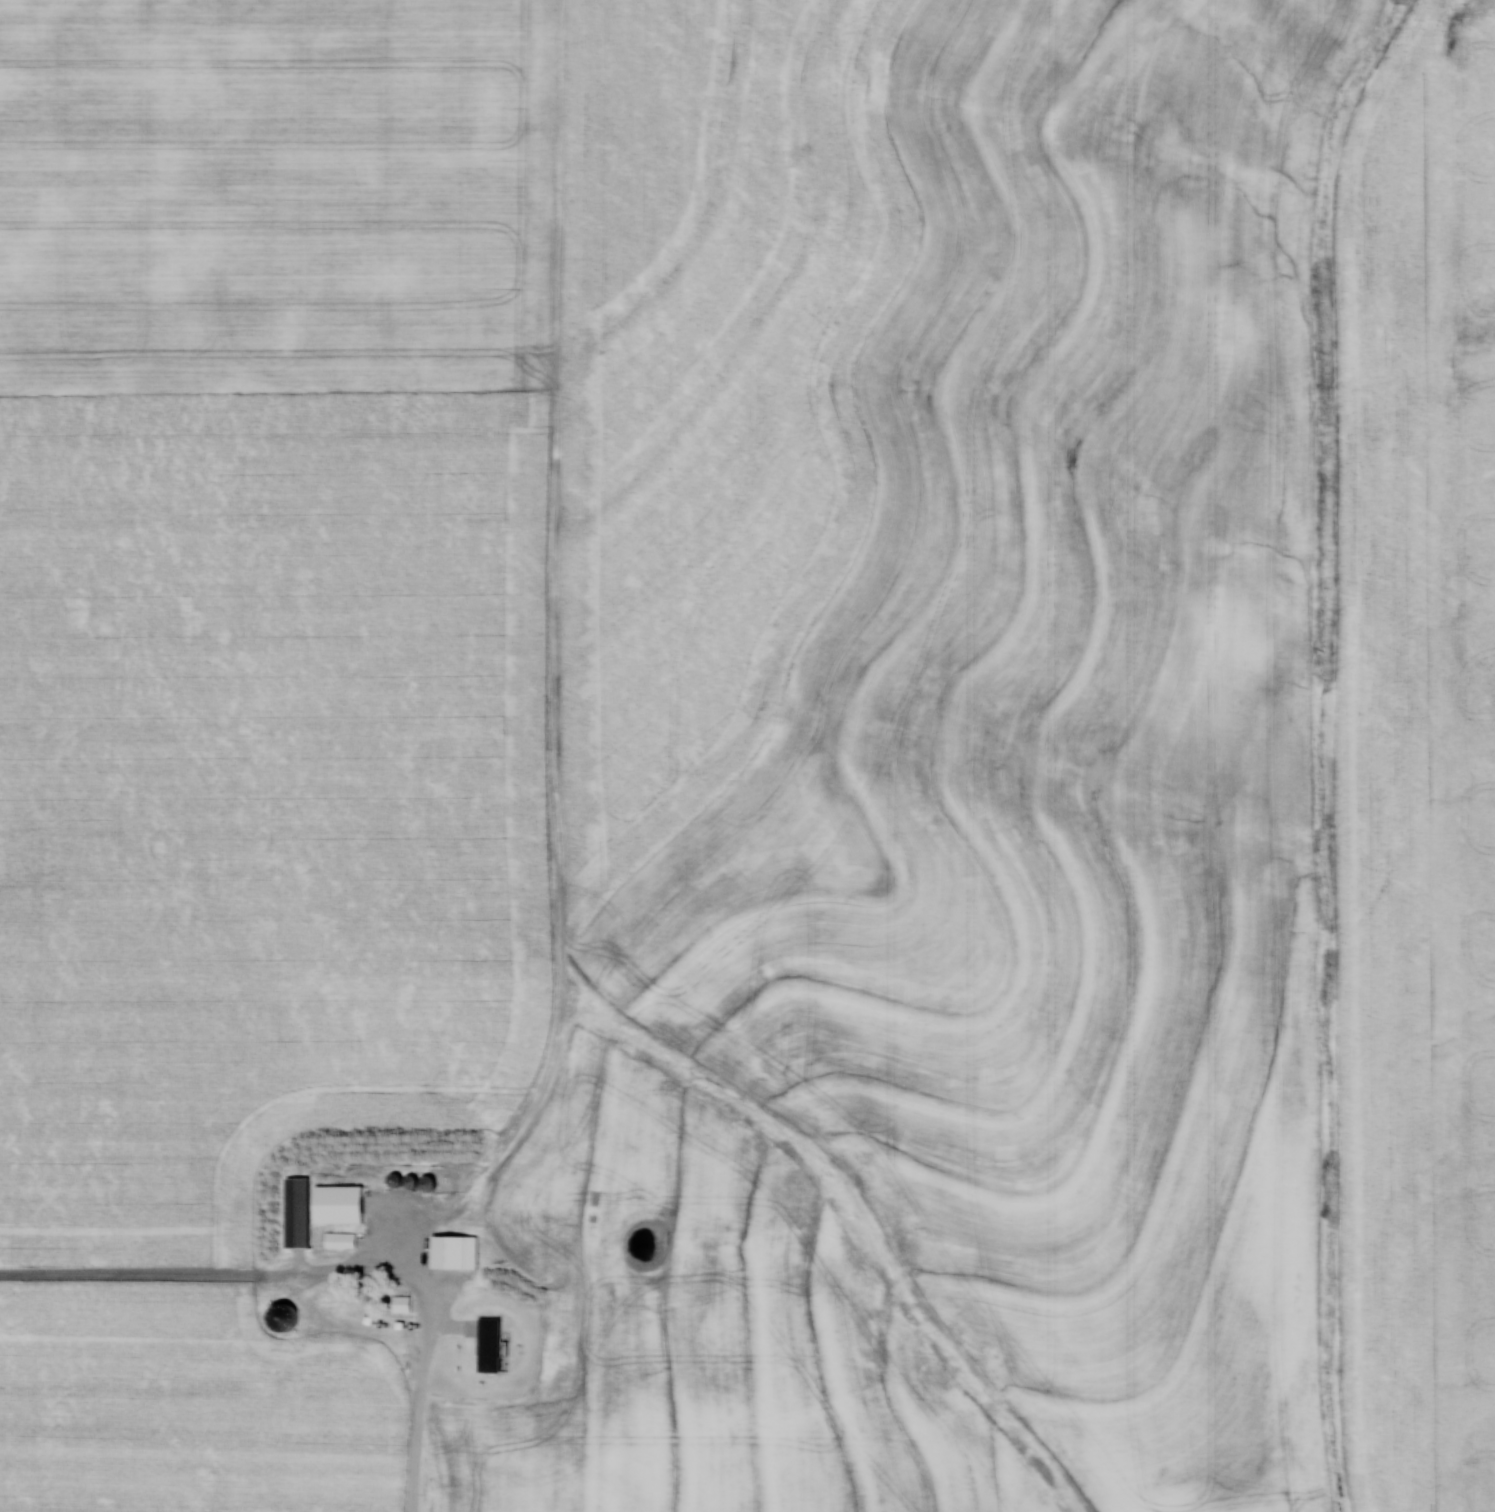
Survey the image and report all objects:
building: (313, 1207)
building: (337, 1240)
building: (449, 1252)
building: (397, 1304)
building: (483, 1342)
road: (424, 1397)

